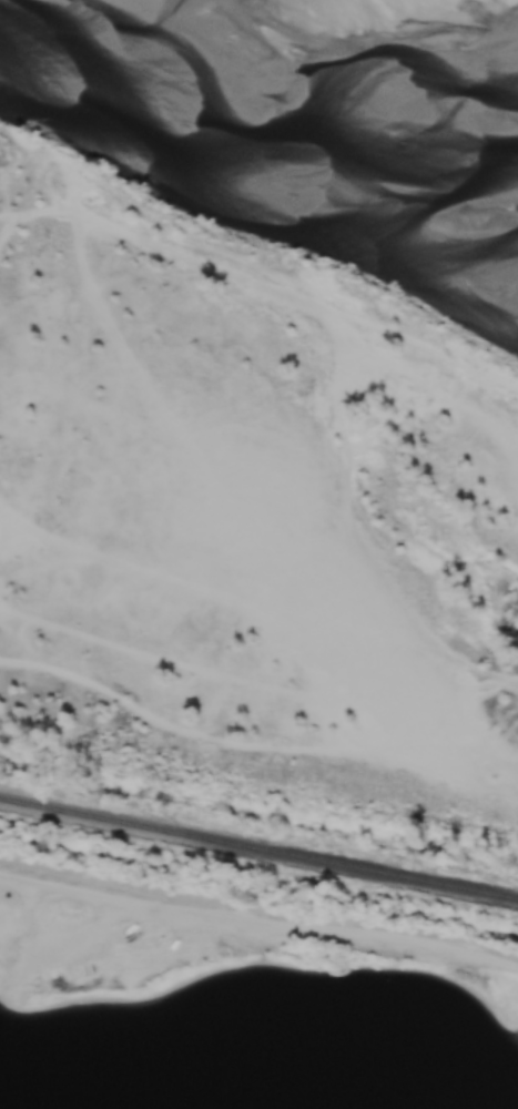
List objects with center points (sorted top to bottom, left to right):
road: (260, 770)
railway: (258, 853)

